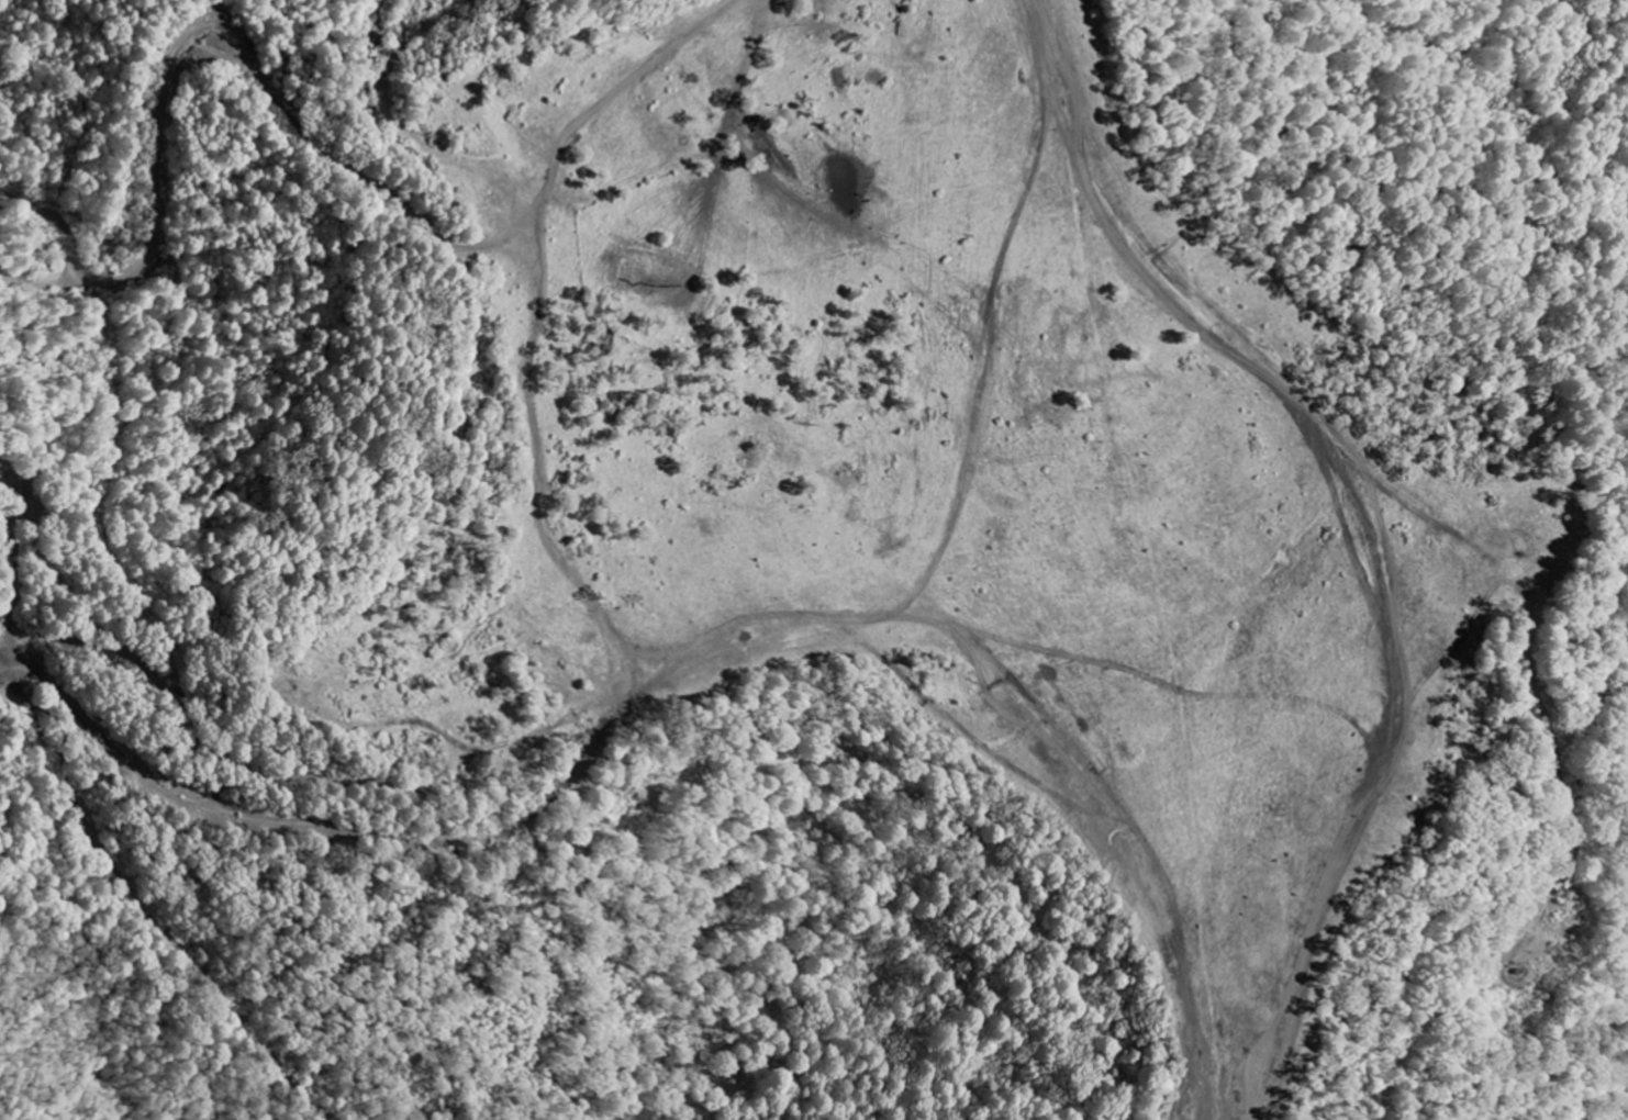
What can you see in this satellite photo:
road: (1274, 1088)

